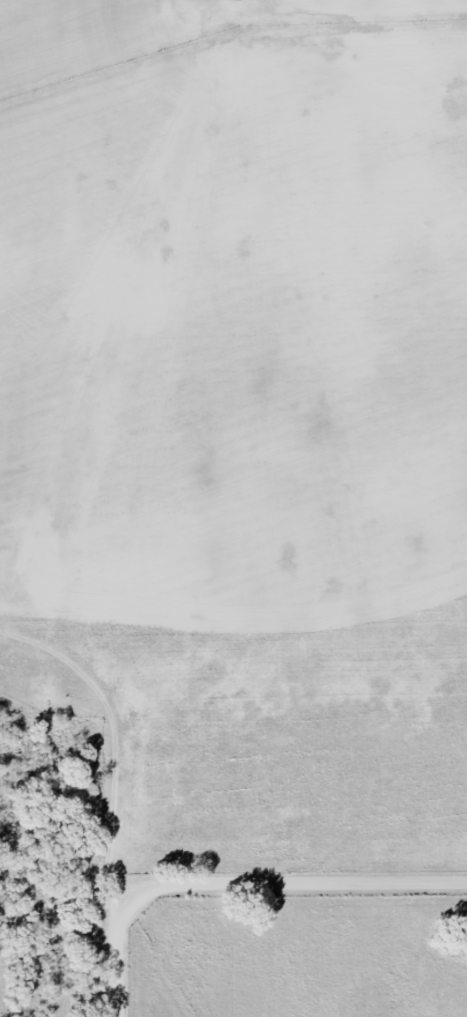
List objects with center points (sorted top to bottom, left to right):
road: (237, 884)

